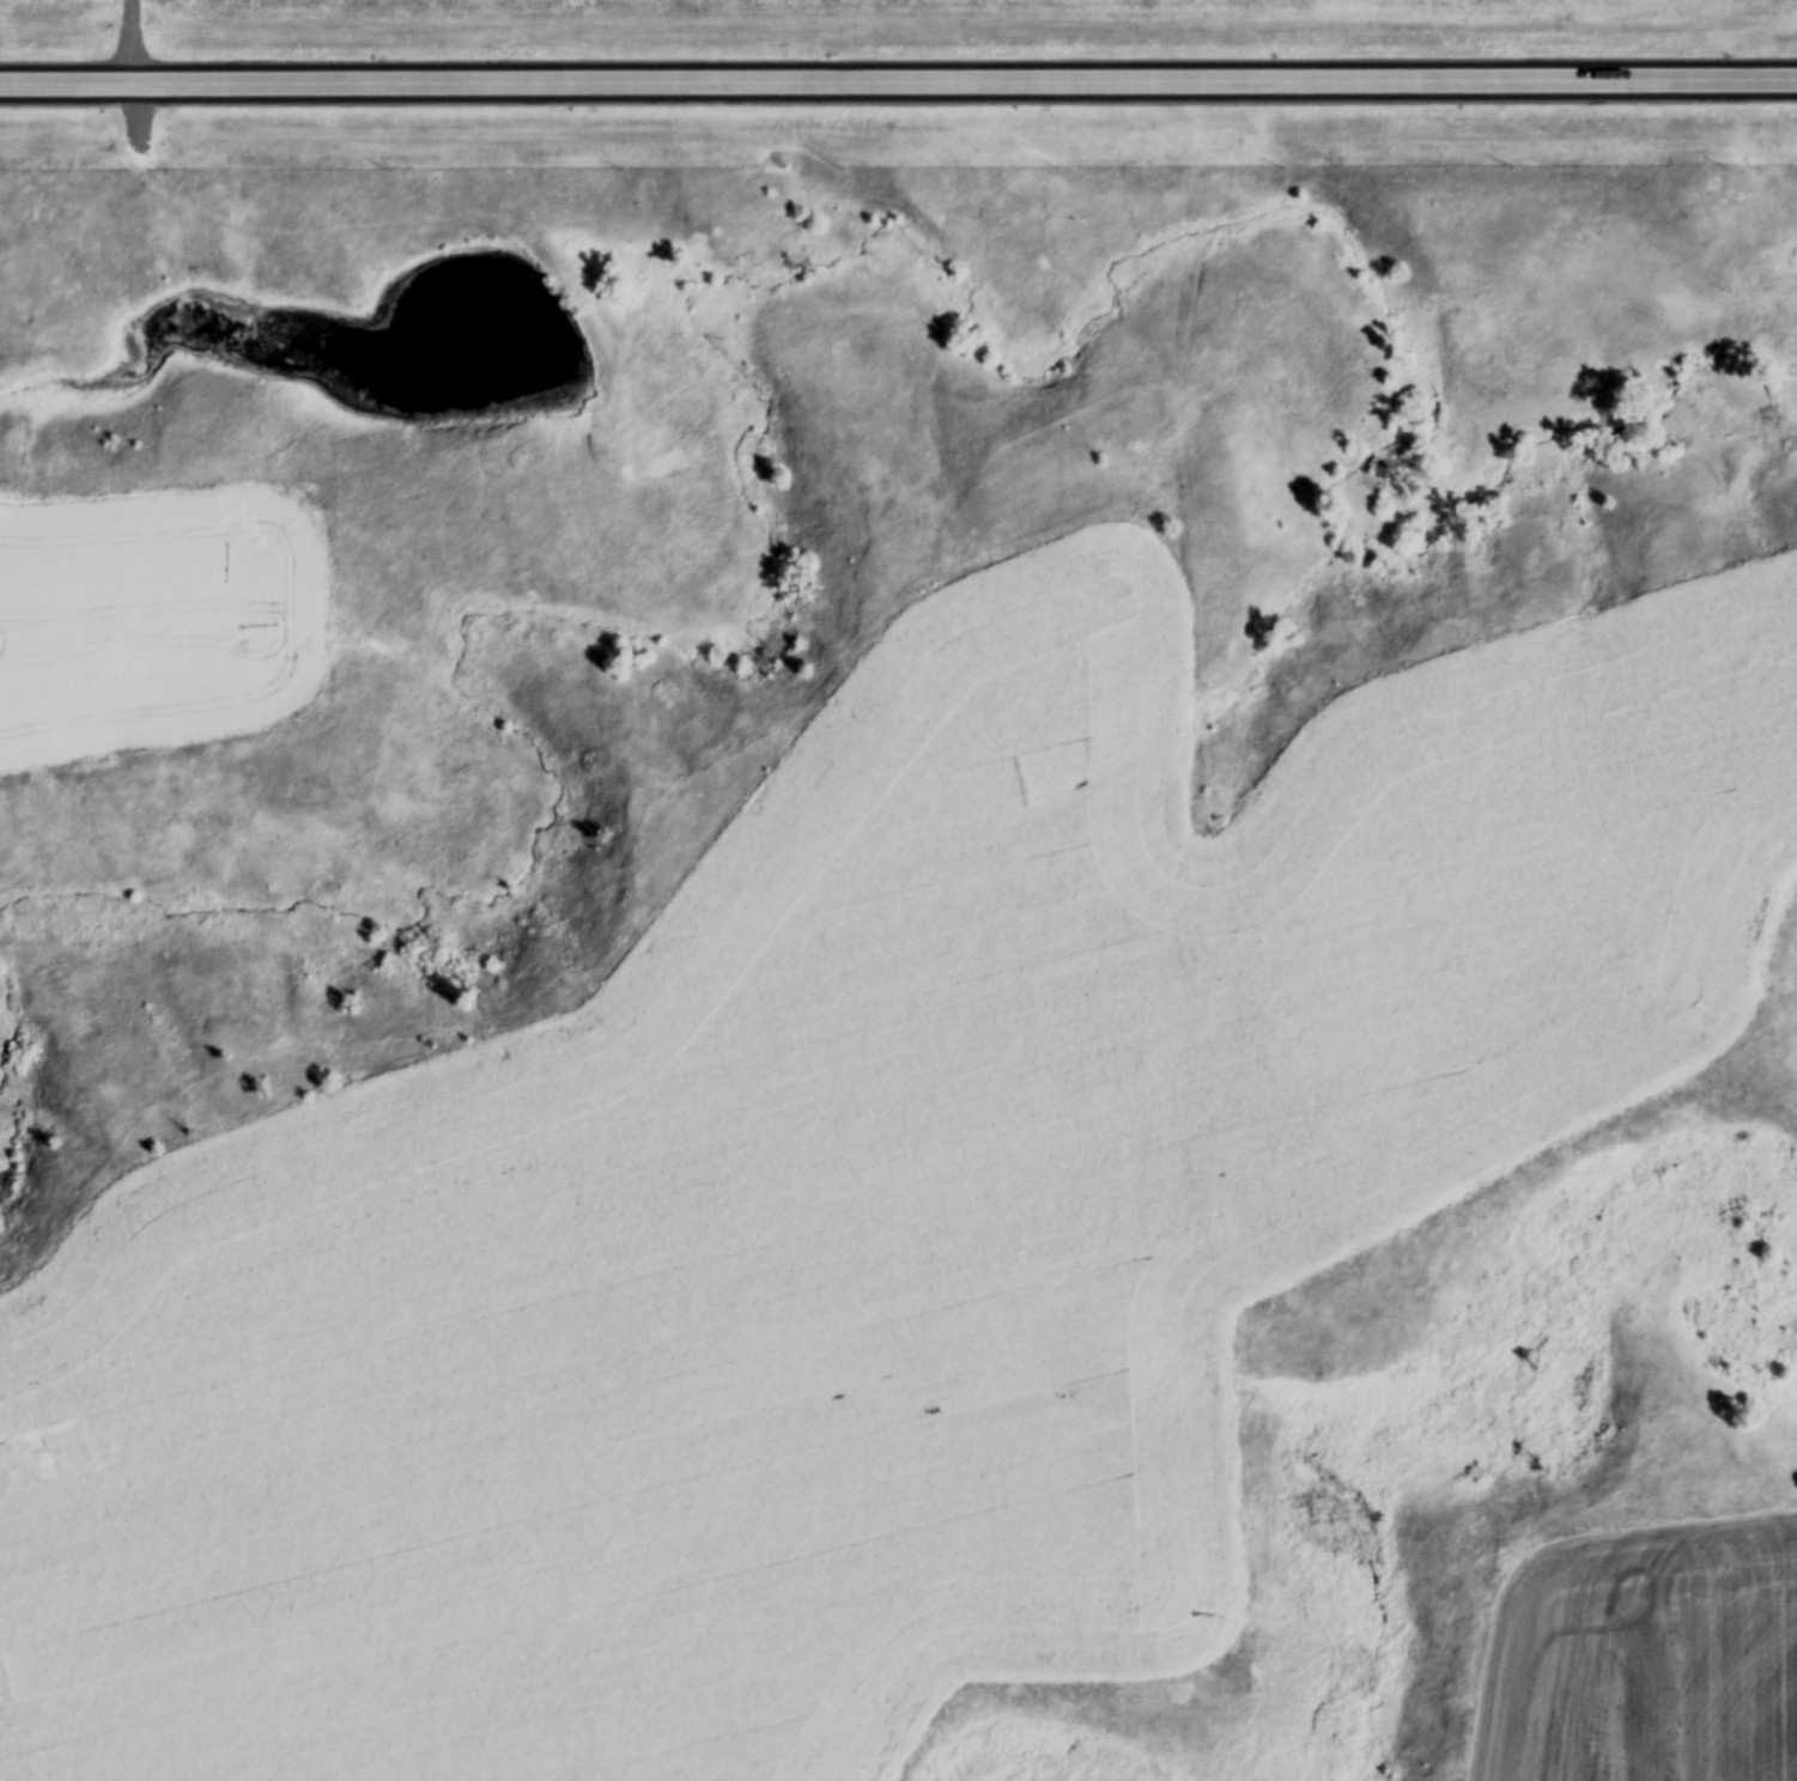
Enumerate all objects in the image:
road: (898, 79)
river: (441, 338)

